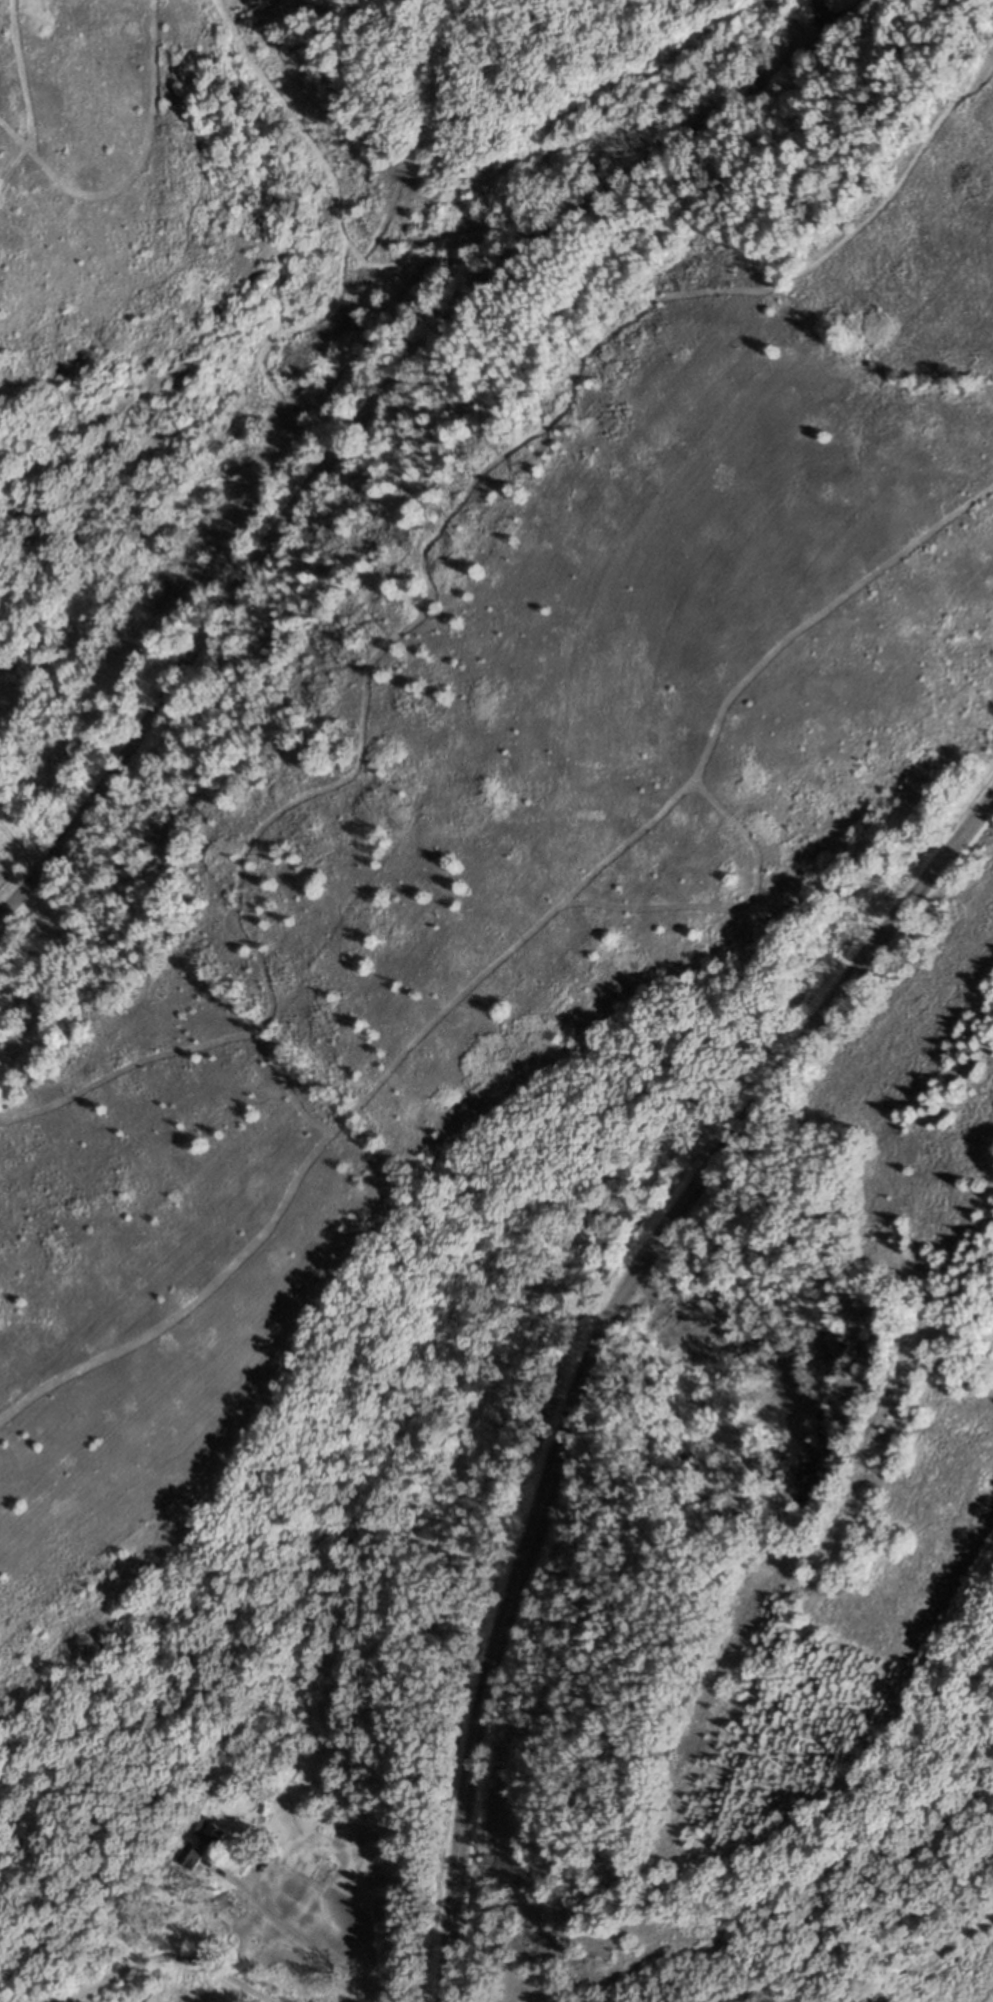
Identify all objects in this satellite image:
road: (802, 22)
road: (375, 400)
road: (688, 1330)
road: (596, 1346)
quarry: (738, 1367)
building: (200, 1840)
building: (144, 1874)
road: (310, 1893)
road: (299, 1934)
road: (165, 1955)

